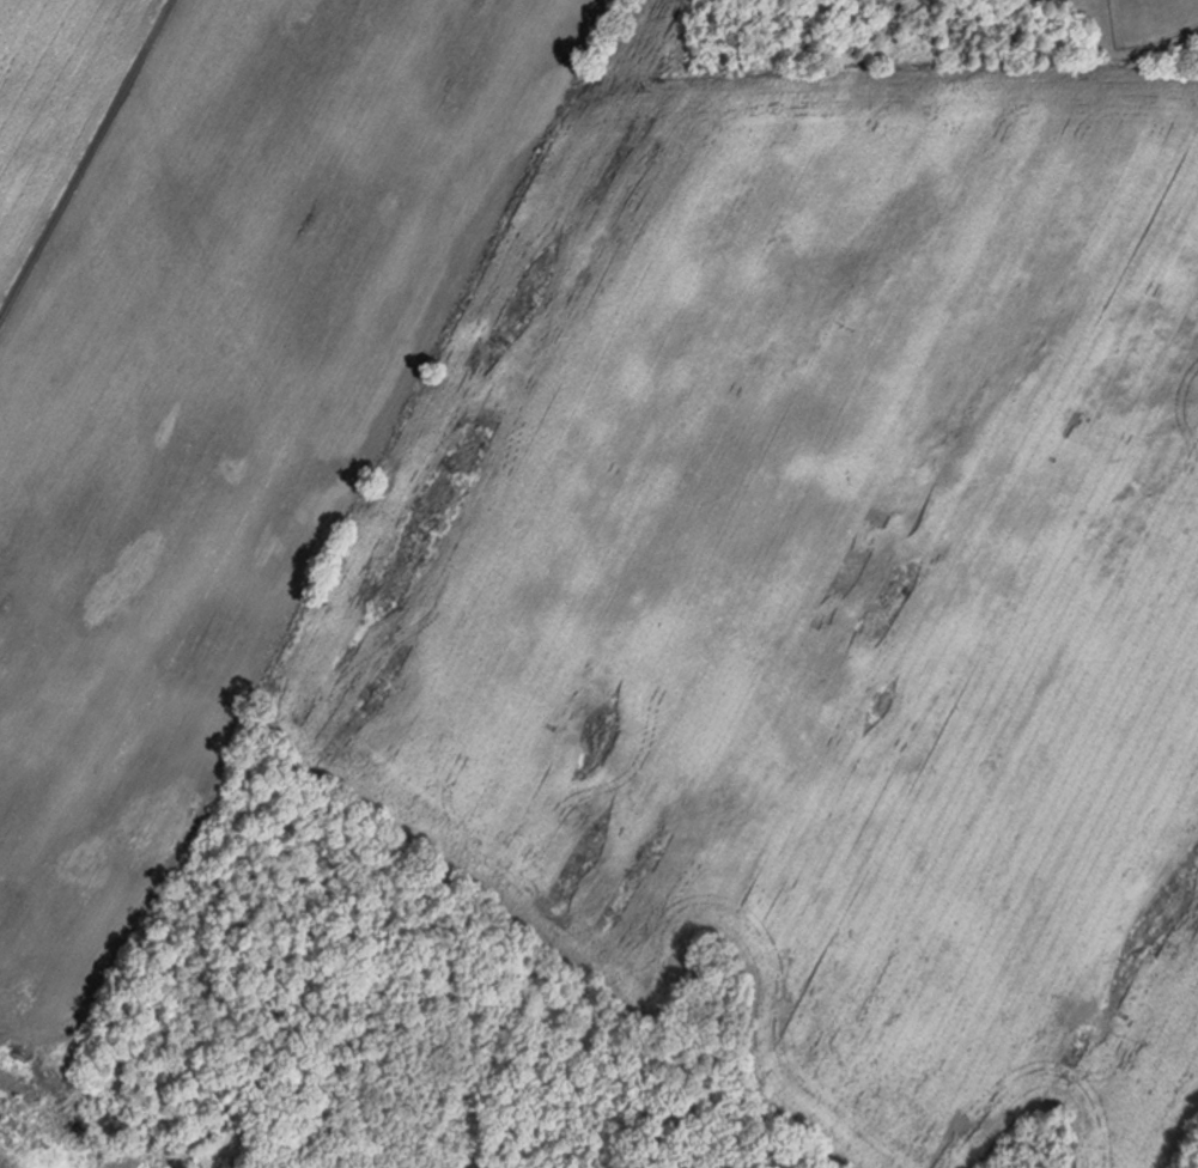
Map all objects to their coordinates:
park: (1149, 20)
park: (971, 32)
road: (87, 163)

